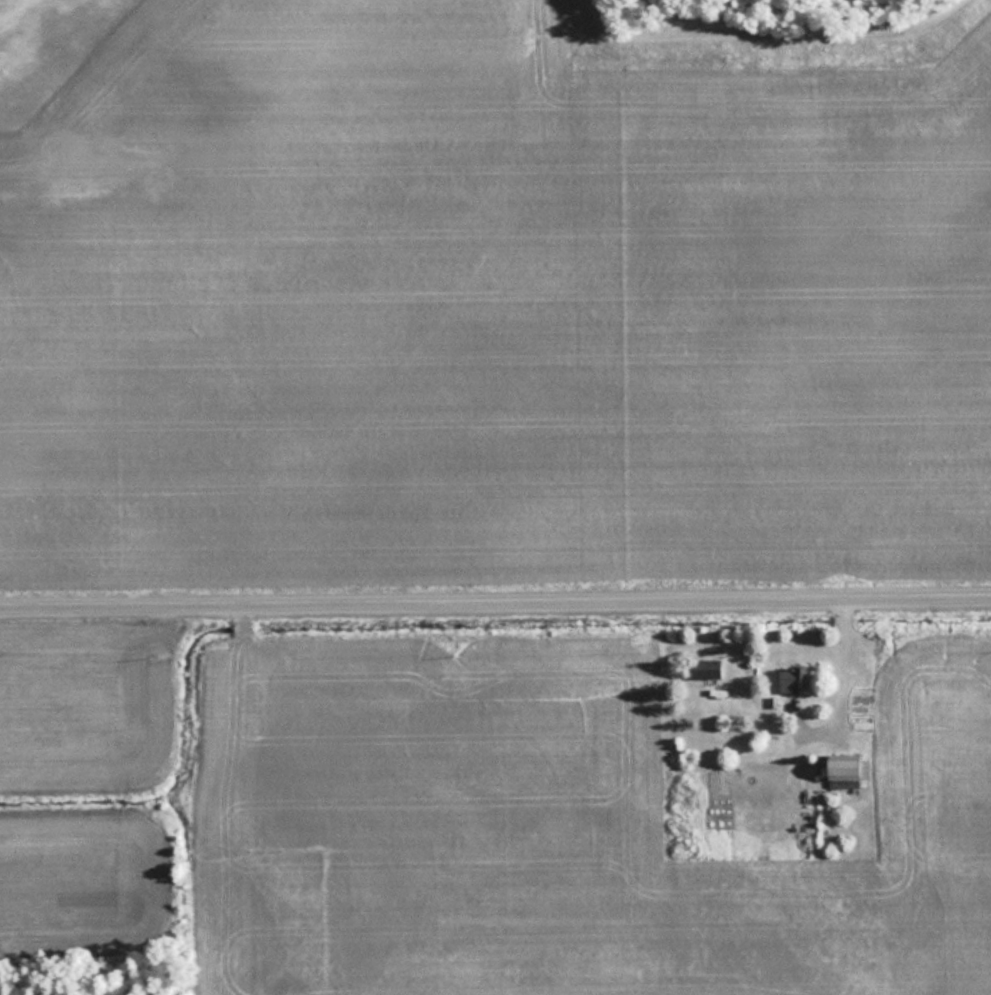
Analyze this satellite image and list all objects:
road: (495, 593)
building: (706, 668)
road: (842, 671)
building: (793, 678)
building: (845, 770)

